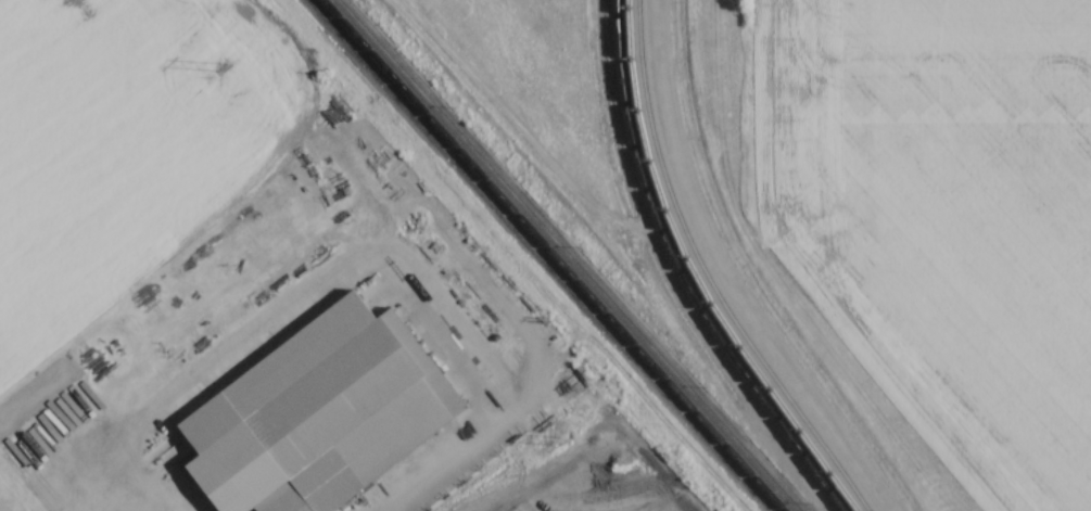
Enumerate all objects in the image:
power tower: (225, 71)
railway: (569, 255)
building: (345, 404)
power tower: (559, 440)
road: (473, 442)

